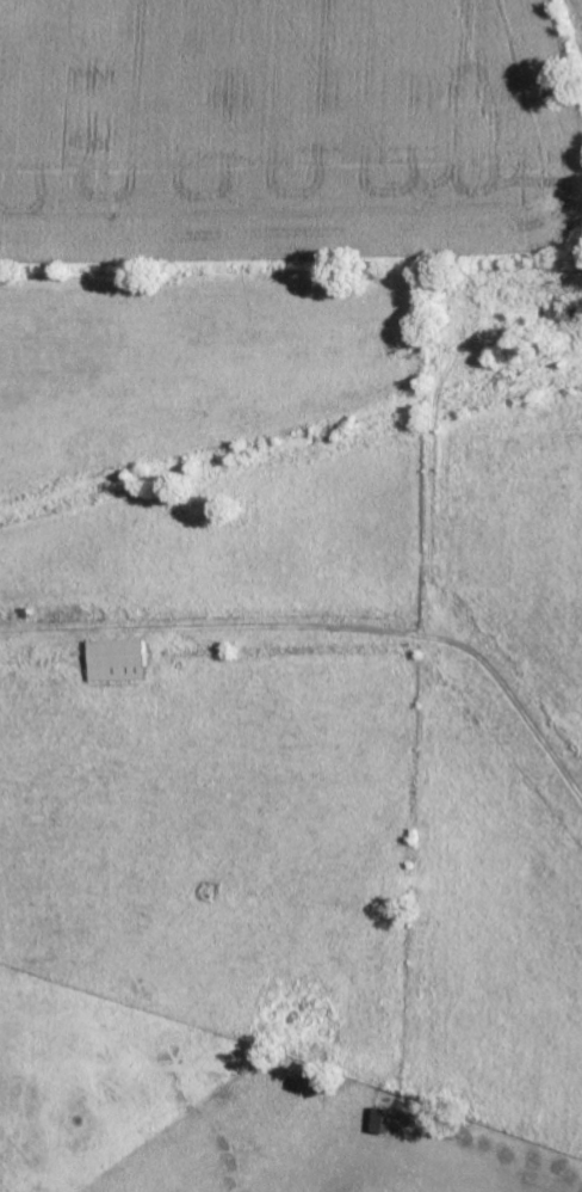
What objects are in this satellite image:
road: (372, 632)
building: (383, 1123)

